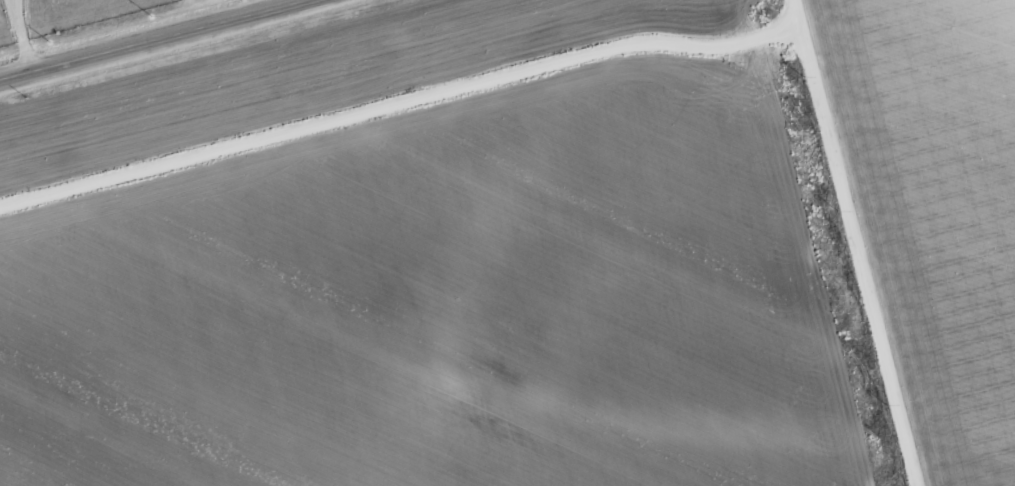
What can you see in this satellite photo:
road: (153, 39)
road: (857, 242)

